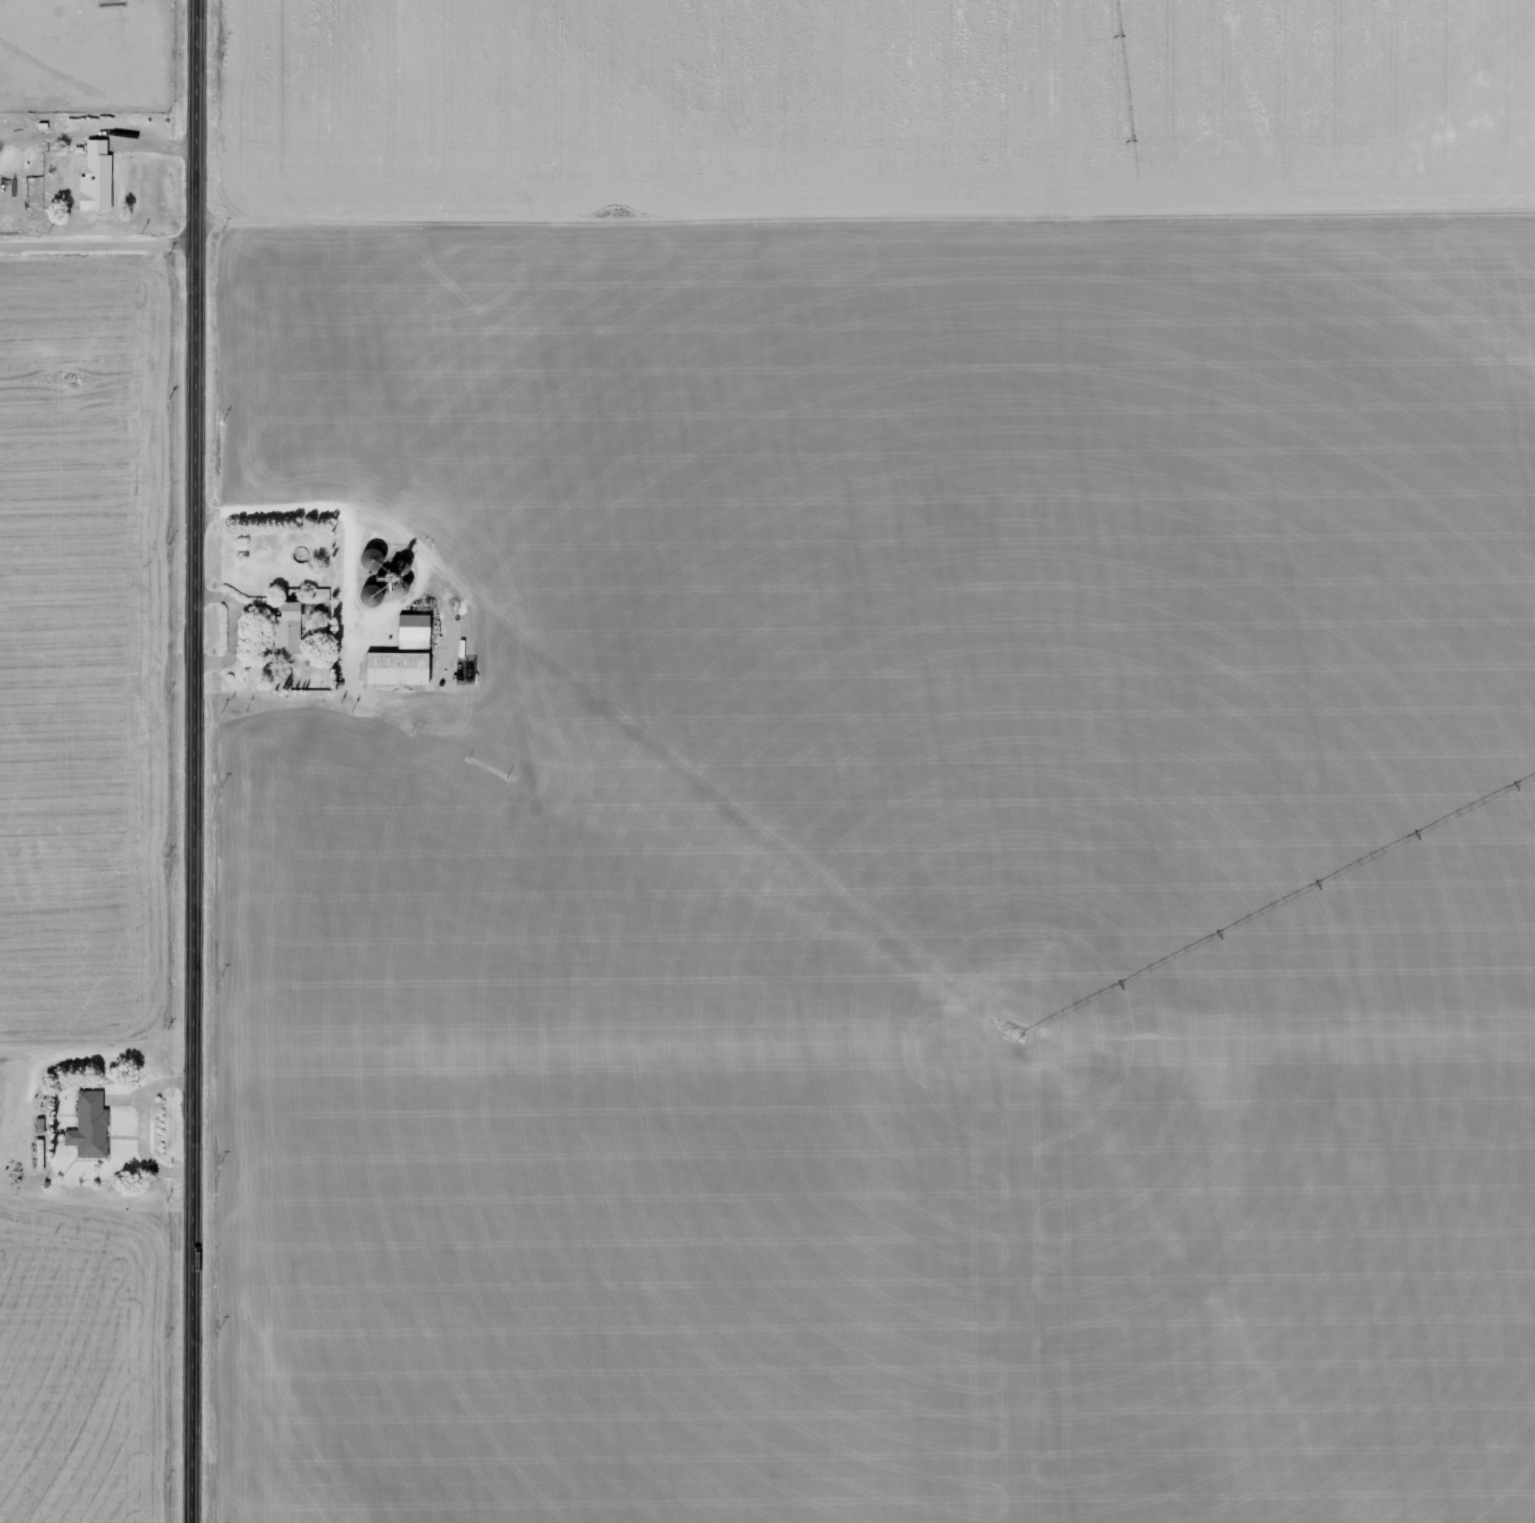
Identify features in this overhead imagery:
building: (98, 179)
road: (98, 247)
building: (414, 633)
building: (289, 634)
building: (398, 670)
road: (195, 761)
building: (90, 1128)

